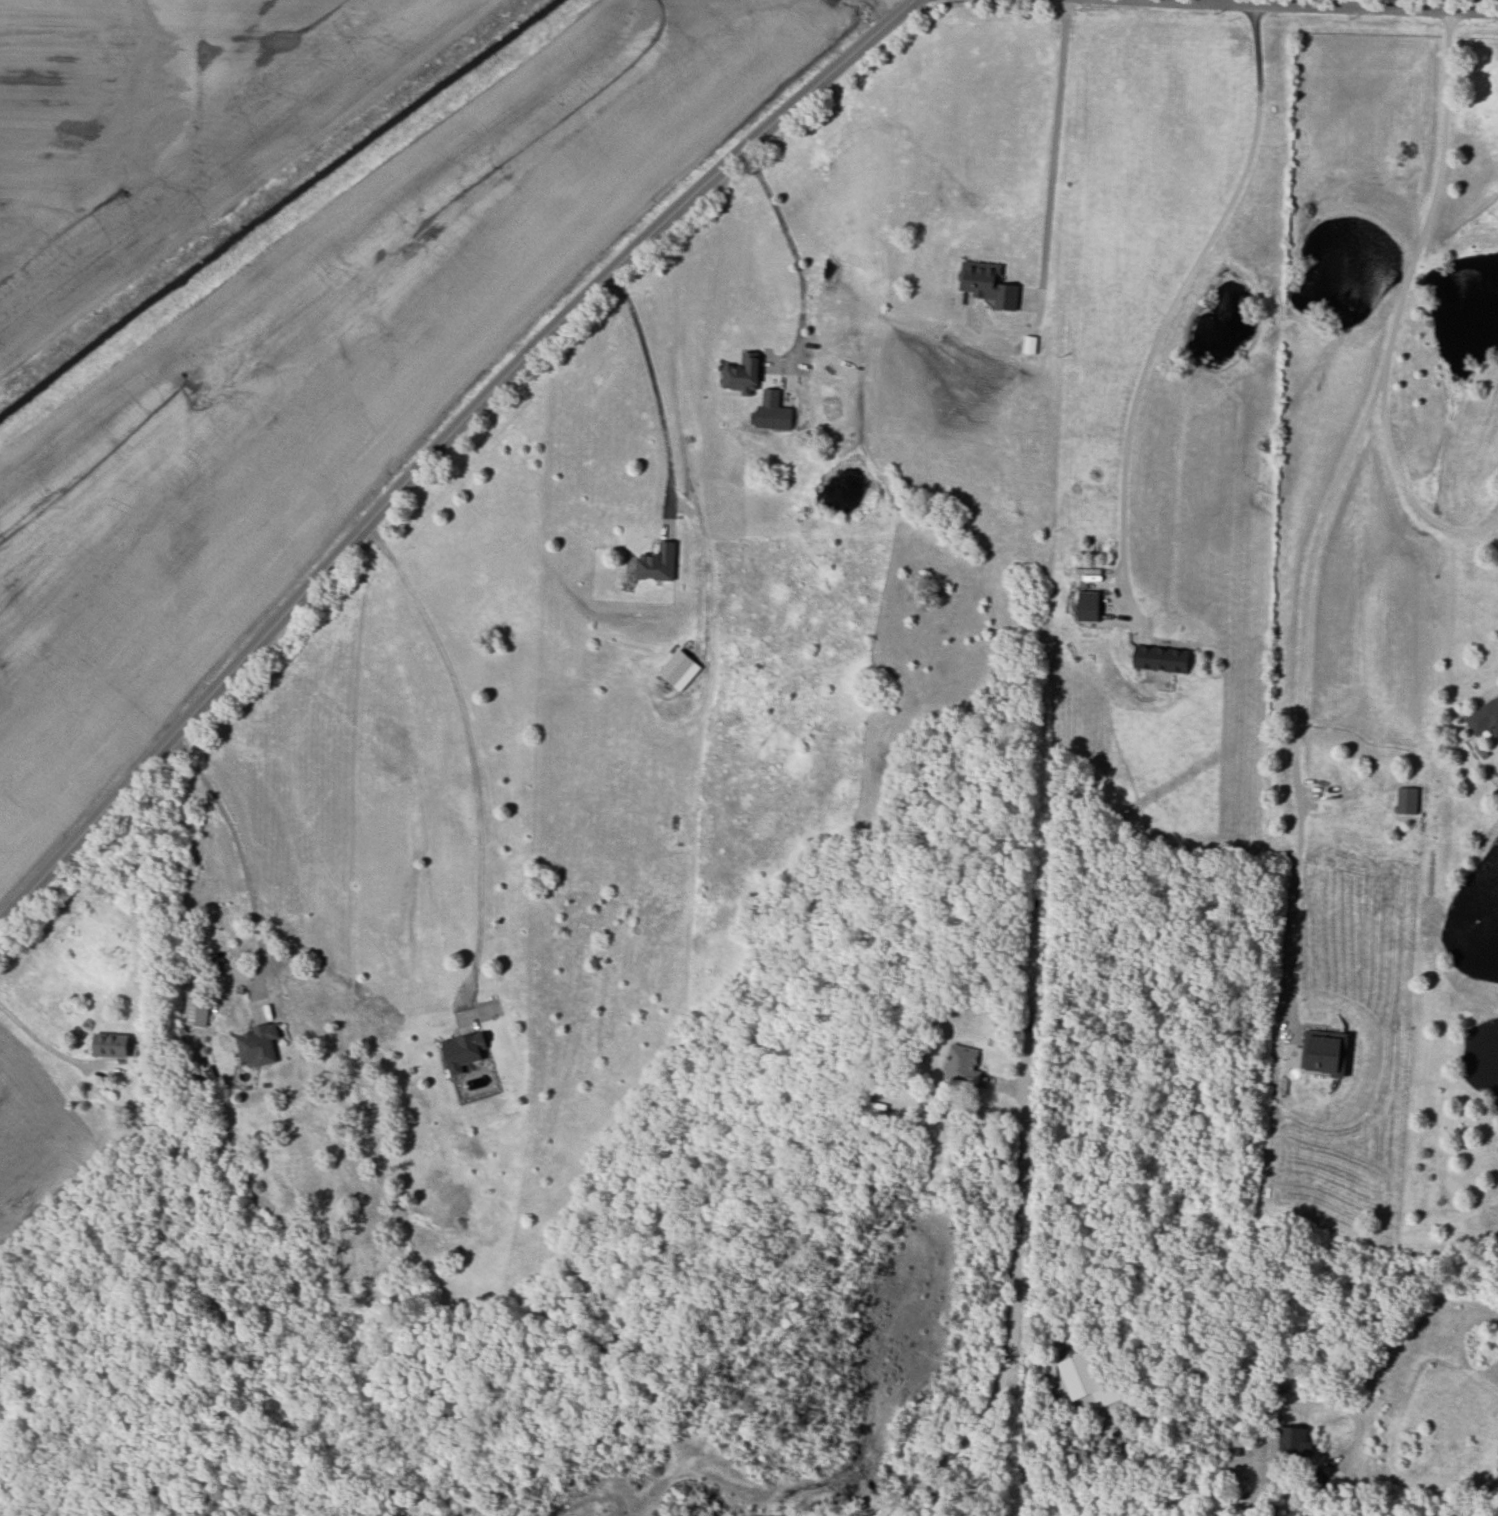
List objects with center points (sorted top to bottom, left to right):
road: (1214, 1)
road: (1333, 6)
crop: (173, 129)
road: (1053, 144)
road: (796, 254)
building: (988, 283)
road: (1173, 302)
crop: (334, 371)
building: (743, 374)
road: (657, 393)
building: (772, 412)
road: (441, 443)
road: (1401, 482)
road: (1323, 507)
building: (658, 563)
building: (1089, 606)
building: (1161, 659)
building: (680, 669)
building: (1484, 718)
road: (468, 747)
building: (1407, 800)
road: (244, 866)
building: (196, 1014)
road: (40, 1041)
building: (259, 1044)
building: (111, 1045)
building: (464, 1050)
building: (1325, 1053)
building: (962, 1065)
crop: (37, 1147)
road: (1012, 1303)
building: (1087, 1380)
building: (1294, 1441)
road: (1356, 1448)
road: (1089, 1464)

